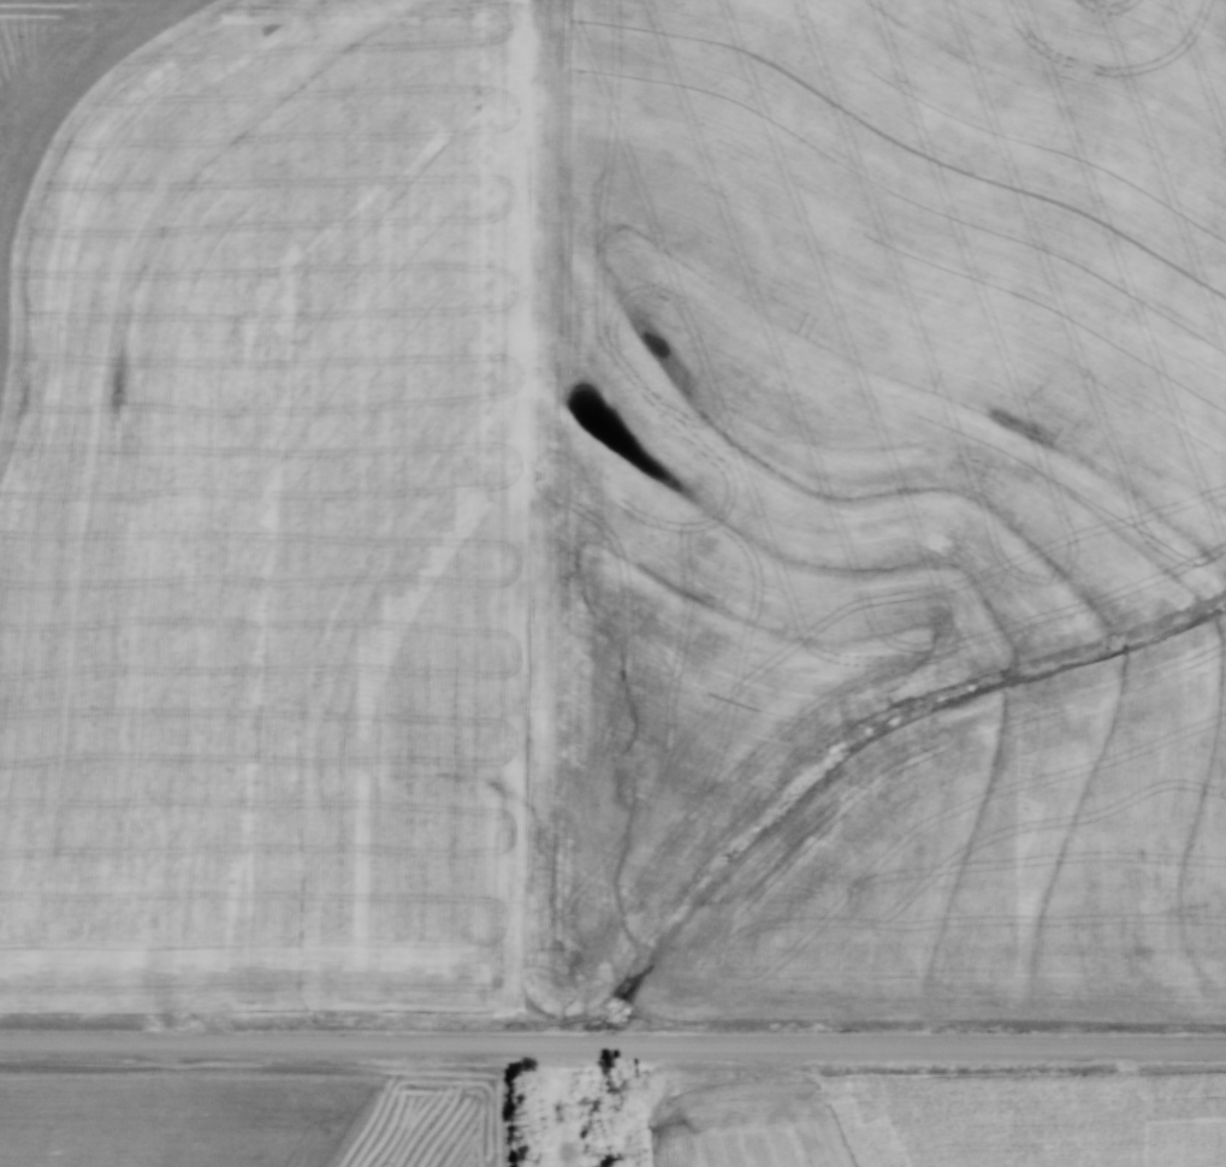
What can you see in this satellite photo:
road: (612, 1049)

